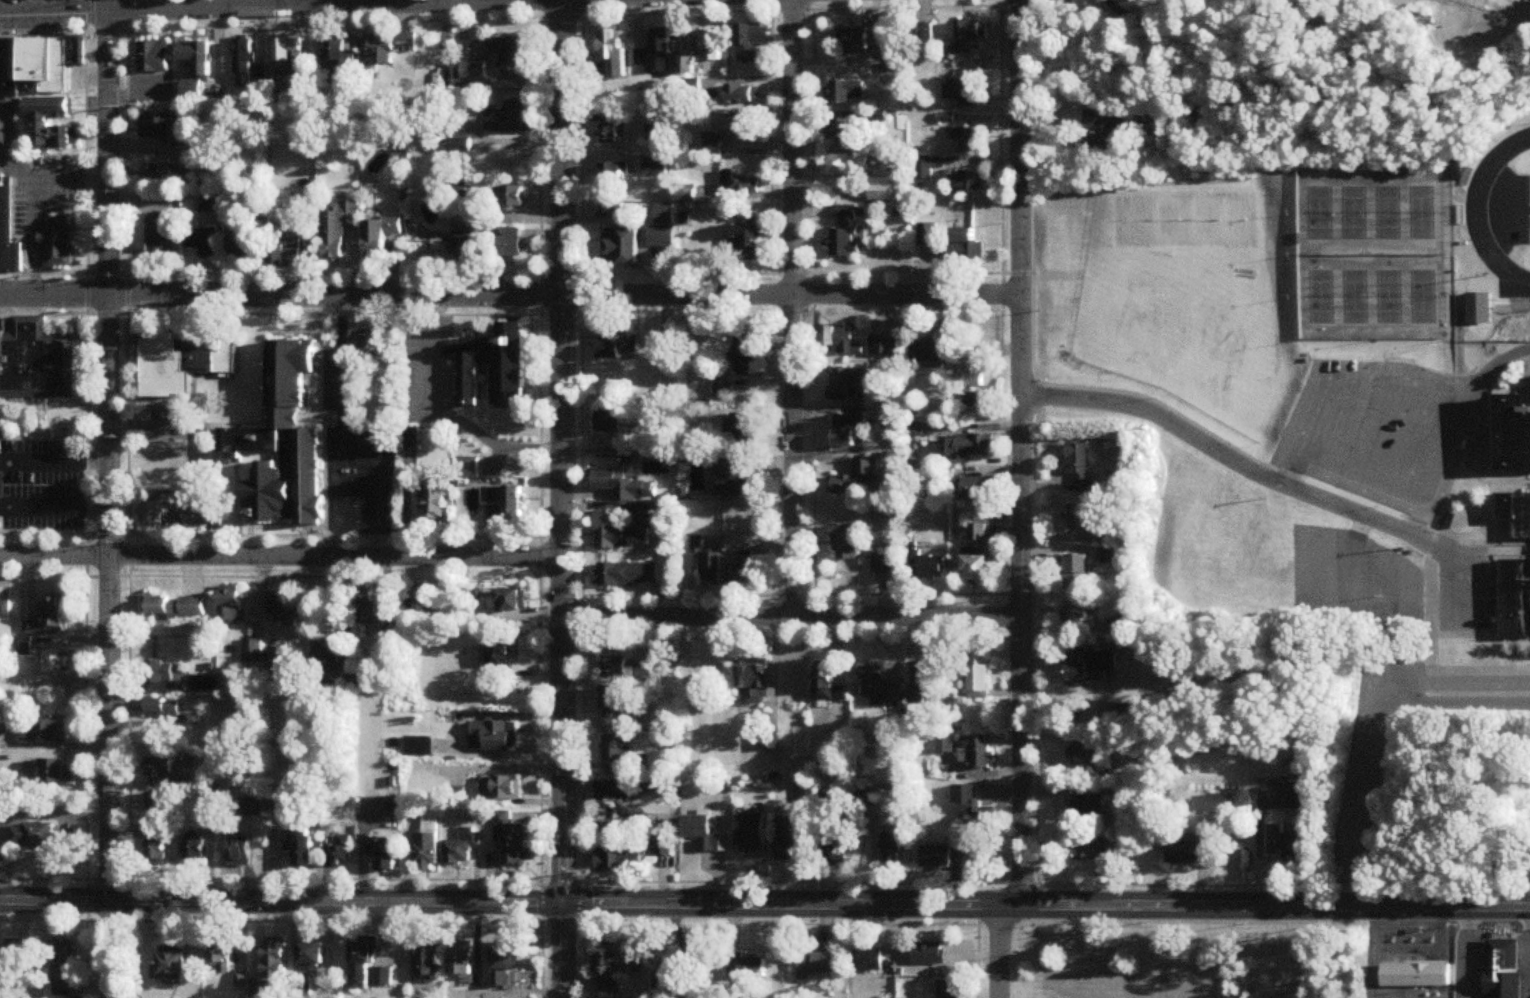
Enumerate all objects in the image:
parking lot: (36, 2)
road: (267, 6)
road: (122, 12)
road: (502, 12)
road: (1170, 35)
building: (967, 38)
building: (751, 41)
building: (855, 42)
building: (711, 45)
building: (387, 49)
building: (511, 50)
building: (613, 50)
building: (655, 54)
building: (892, 55)
building: (290, 58)
building: (339, 59)
building: (151, 60)
building: (11, 63)
building: (48, 64)
building: (685, 64)
building: (248, 66)
building: (196, 69)
building: (475, 78)
building: (962, 92)
building: (846, 93)
building: (741, 95)
building: (511, 121)
building: (734, 121)
road: (4, 122)
building: (43, 122)
building: (1103, 127)
building: (158, 128)
building: (843, 131)
building: (609, 132)
building: (654, 134)
building: (967, 138)
road: (771, 140)
road: (1000, 142)
road: (560, 146)
building: (714, 146)
road: (1020, 146)
road: (107, 147)
road: (791, 147)
parking lot: (45, 156)
road: (83, 156)
parking lot: (2, 158)
road: (14, 159)
building: (849, 165)
building: (654, 168)
building: (923, 169)
building: (163, 173)
building: (612, 175)
building: (969, 182)
building: (742, 183)
parking lot: (57, 187)
road: (31, 196)
road: (1031, 196)
building: (515, 198)
park: (1529, 208)
parking lot: (19, 212)
building: (613, 212)
building: (735, 212)
track: (1477, 212)
park: (1320, 214)
park: (1354, 214)
park: (1387, 214)
park: (1421, 214)
building: (5, 223)
building: (337, 229)
building: (846, 233)
building: (927, 235)
building: (380, 236)
building: (157, 237)
building: (657, 238)
building: (747, 240)
building: (58, 243)
building: (243, 244)
building: (204, 246)
building: (466, 246)
building: (967, 246)
building: (514, 248)
building: (622, 249)
road: (1469, 253)
building: (285, 255)
road: (539, 265)
road: (515, 274)
road: (1446, 277)
park: (1236, 280)
road: (509, 292)
park: (1321, 298)
park: (1355, 298)
park: (1388, 298)
park: (1421, 298)
road: (1503, 298)
parking lot: (315, 305)
road: (911, 306)
building: (1478, 309)
road: (1494, 312)
road: (42, 313)
road: (333, 314)
road: (132, 325)
park: (1185, 326)
building: (840, 343)
building: (619, 344)
building: (372, 347)
building: (883, 347)
road: (1458, 350)
building: (1, 351)
building: (928, 353)
building: (667, 356)
building: (183, 357)
building: (746, 357)
building: (35, 360)
building: (499, 363)
road: (1493, 369)
parking lot: (412, 370)
building: (971, 373)
road: (1394, 374)
park: (1352, 375)
parking lot: (328, 382)
building: (1529, 382)
building: (848, 386)
building: (721, 391)
road: (810, 401)
road: (32, 413)
road: (443, 414)
road: (319, 419)
road: (1354, 420)
building: (610, 422)
road: (341, 426)
road: (41, 431)
building: (742, 432)
building: (849, 433)
road: (1409, 434)
building: (1514, 435)
parking lot: (1379, 437)
parking lot: (39, 441)
building: (282, 446)
road: (578, 447)
building: (970, 448)
road: (772, 451)
road: (121, 452)
building: (513, 453)
road: (1490, 454)
road: (793, 456)
road: (51, 457)
building: (182, 462)
building: (1077, 465)
building: (467, 469)
road: (1283, 473)
road: (1452, 474)
road: (378, 478)
road: (1268, 478)
road: (1360, 478)
parking lot: (40, 479)
building: (734, 481)
building: (856, 481)
building: (614, 485)
parking lot: (355, 489)
parking lot: (393, 489)
building: (977, 489)
road: (232, 494)
building: (493, 497)
road: (52, 501)
building: (435, 501)
building: (514, 509)
building: (153, 512)
building: (1514, 514)
parking lot: (40, 515)
building: (195, 518)
park: (1221, 518)
road: (1421, 521)
building: (1084, 522)
road: (41, 526)
road: (320, 529)
road: (1457, 534)
building: (619, 535)
building: (977, 537)
building: (846, 543)
road: (279, 555)
building: (882, 566)
building: (927, 566)
building: (747, 570)
building: (977, 570)
building: (712, 571)
road: (329, 572)
building: (1076, 573)
building: (625, 575)
road: (1311, 576)
road: (1395, 584)
road: (671, 588)
road: (1489, 589)
road: (1020, 595)
road: (81, 596)
building: (422, 598)
building: (1516, 600)
building: (512, 601)
road: (1355, 601)
building: (172, 607)
building: (280, 607)
building: (365, 608)
building: (4, 609)
building: (230, 609)
building: (1077, 616)
road: (789, 619)
road: (1429, 619)
building: (49, 620)
road: (1027, 624)
road: (913, 630)
road: (1487, 634)
road: (104, 645)
road: (558, 645)
building: (499, 651)
building: (251, 652)
building: (334, 654)
building: (55, 663)
building: (1092, 666)
building: (620, 668)
building: (273, 669)
road: (1476, 673)
building: (160, 679)
road: (1461, 682)
building: (977, 683)
building: (756, 684)
building: (923, 684)
building: (826, 685)
road: (1379, 688)
building: (878, 689)
road: (1476, 695)
road: (1453, 705)
parking lot: (1379, 706)
building: (162, 709)
building: (619, 710)
building: (1122, 715)
building: (48, 731)
building: (493, 737)
building: (944, 746)
building: (615, 750)
building: (975, 754)
building: (1085, 755)
building: (158, 769)
building: (57, 774)
road: (535, 786)
building: (501, 790)
building: (615, 792)
building: (1300, 797)
building: (963, 798)
building: (158, 803)
building: (1218, 805)
building: (250, 809)
road: (1359, 809)
building: (750, 835)
building: (703, 836)
building: (34, 837)
building: (512, 840)
building: (787, 842)
building: (428, 846)
building: (1130, 846)
building: (1288, 846)
building: (303, 848)
building: (662, 848)
building: (462, 849)
building: (892, 850)
building: (156, 852)
building: (195, 852)
building: (240, 853)
building: (340, 854)
building: (837, 854)
building: (1090, 854)
building: (1185, 854)
building: (383, 855)
building: (935, 860)
building: (618, 861)
park: (1514, 870)
road: (765, 879)
road: (508, 902)
road: (1273, 905)
road: (280, 925)
road: (881, 927)
road: (1446, 928)
road: (1439, 931)
road: (991, 948)
park: (1132, 952)
road: (1375, 952)
building: (220, 953)
road: (1471, 953)
road: (1529, 953)
building: (312, 955)
building: (928, 955)
building: (426, 959)
building: (463, 960)
building: (867, 961)
building: (15, 962)
building: (170, 965)
building: (368, 965)
building: (504, 965)
building: (813, 966)
building: (1506, 968)
building: (270, 969)
building: (61, 970)
building: (608, 971)
building: (748, 971)
building: (1417, 975)
road: (1439, 976)
building: (240, 982)
building: (666, 982)
building: (949, 989)
road: (443, 996)
road: (1438, 997)

